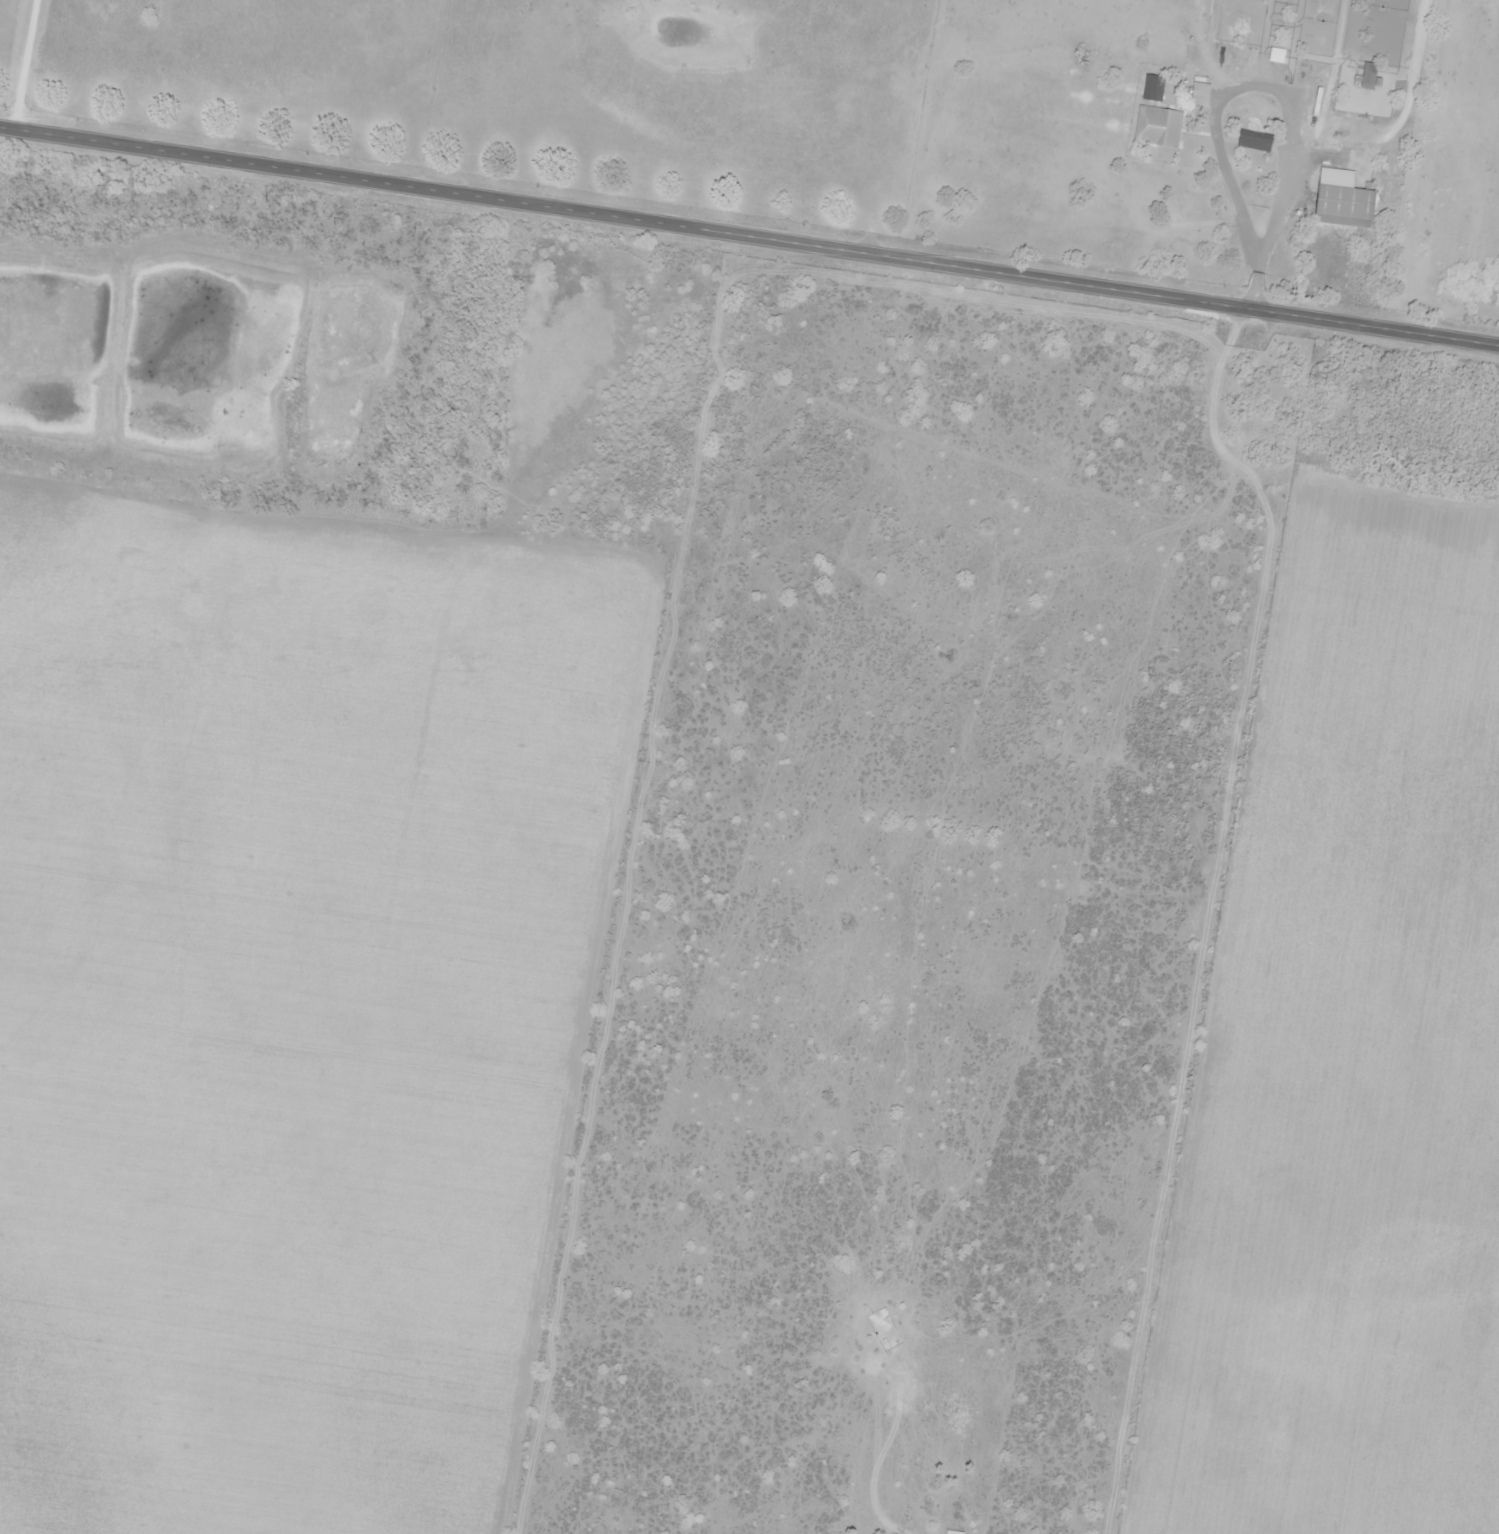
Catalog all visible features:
building: (1367, 74)
building: (1151, 86)
building: (1198, 91)
building: (1155, 124)
road: (1297, 130)
building: (1253, 139)
building: (1341, 198)
road: (749, 240)
building: (1357, 380)
building: (952, 1531)

